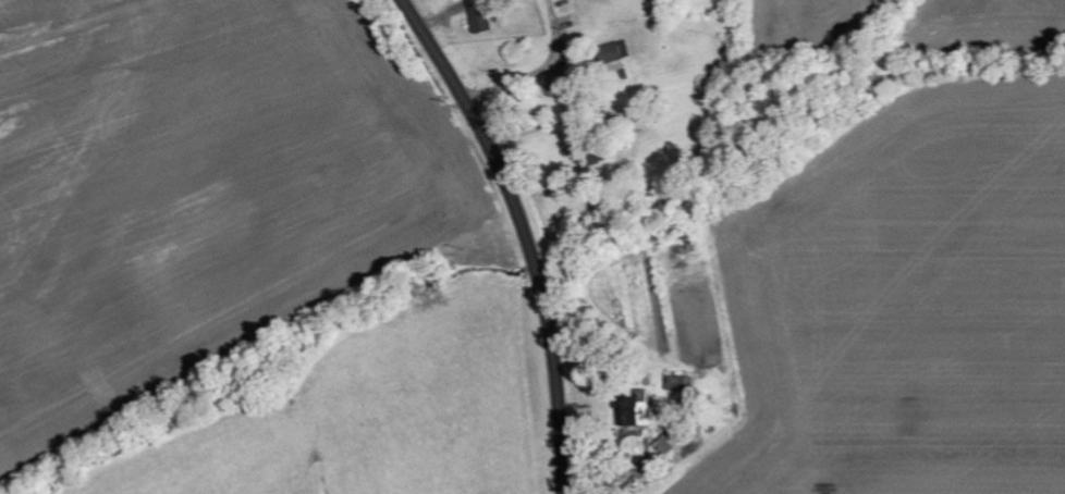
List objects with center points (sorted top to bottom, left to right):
building: (479, 15)
building: (613, 52)
road: (524, 233)
building: (678, 383)
building: (635, 408)
building: (668, 443)

